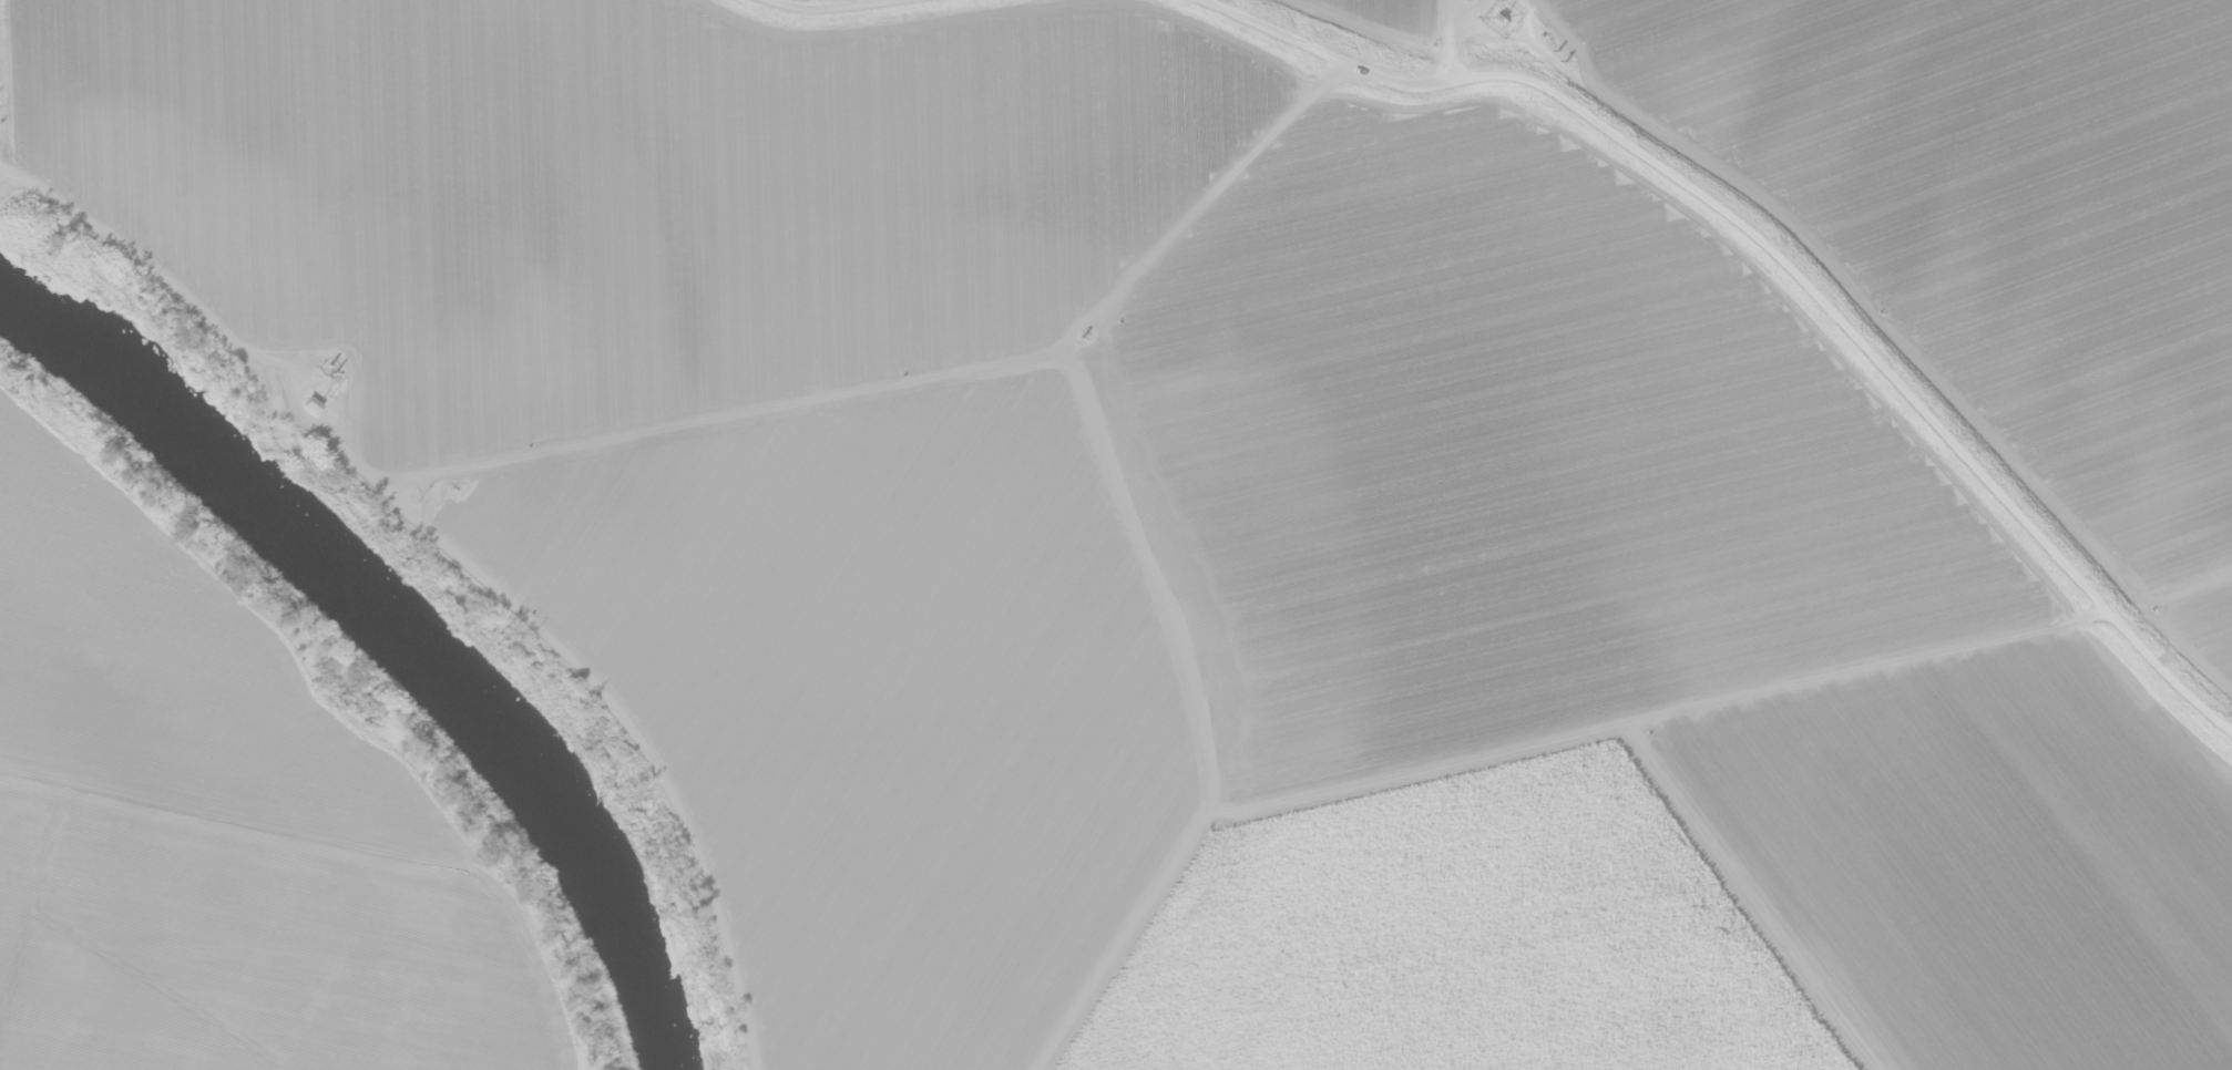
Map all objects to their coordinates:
road: (821, 11)
road: (1482, 17)
road: (1450, 40)
road: (1773, 257)
road: (1843, 280)
road: (739, 420)
road: (1176, 544)
road: (453, 558)
road: (2185, 584)
river: (399, 628)
road: (1653, 719)
road: (1757, 897)

